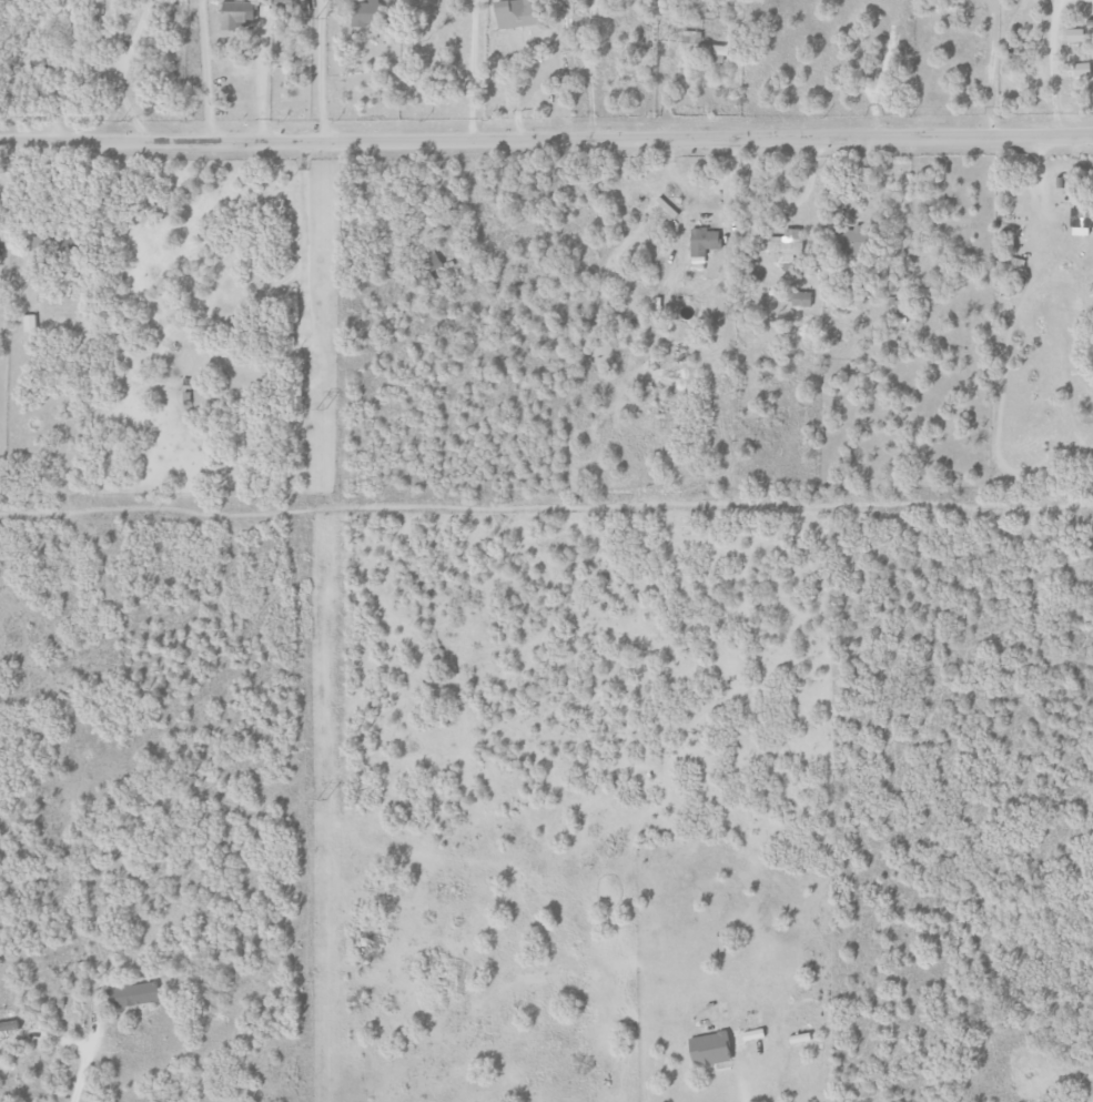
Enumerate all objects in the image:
building: (286, 3)
building: (364, 12)
building: (513, 13)
building: (235, 14)
power tower: (322, 18)
building: (1072, 34)
road: (103, 39)
road: (129, 39)
building: (700, 46)
road: (989, 68)
building: (1080, 69)
road: (314, 71)
road: (472, 71)
road: (200, 72)
road: (126, 113)
road: (546, 141)
road: (795, 205)
road: (692, 215)
building: (1077, 221)
road: (303, 236)
building: (701, 241)
building: (848, 241)
building: (785, 242)
building: (429, 262)
road: (256, 290)
building: (800, 299)
building: (29, 322)
power tower: (321, 408)
power tower: (321, 800)
building: (133, 995)
building: (706, 1049)
road: (75, 1073)
road: (737, 1088)

